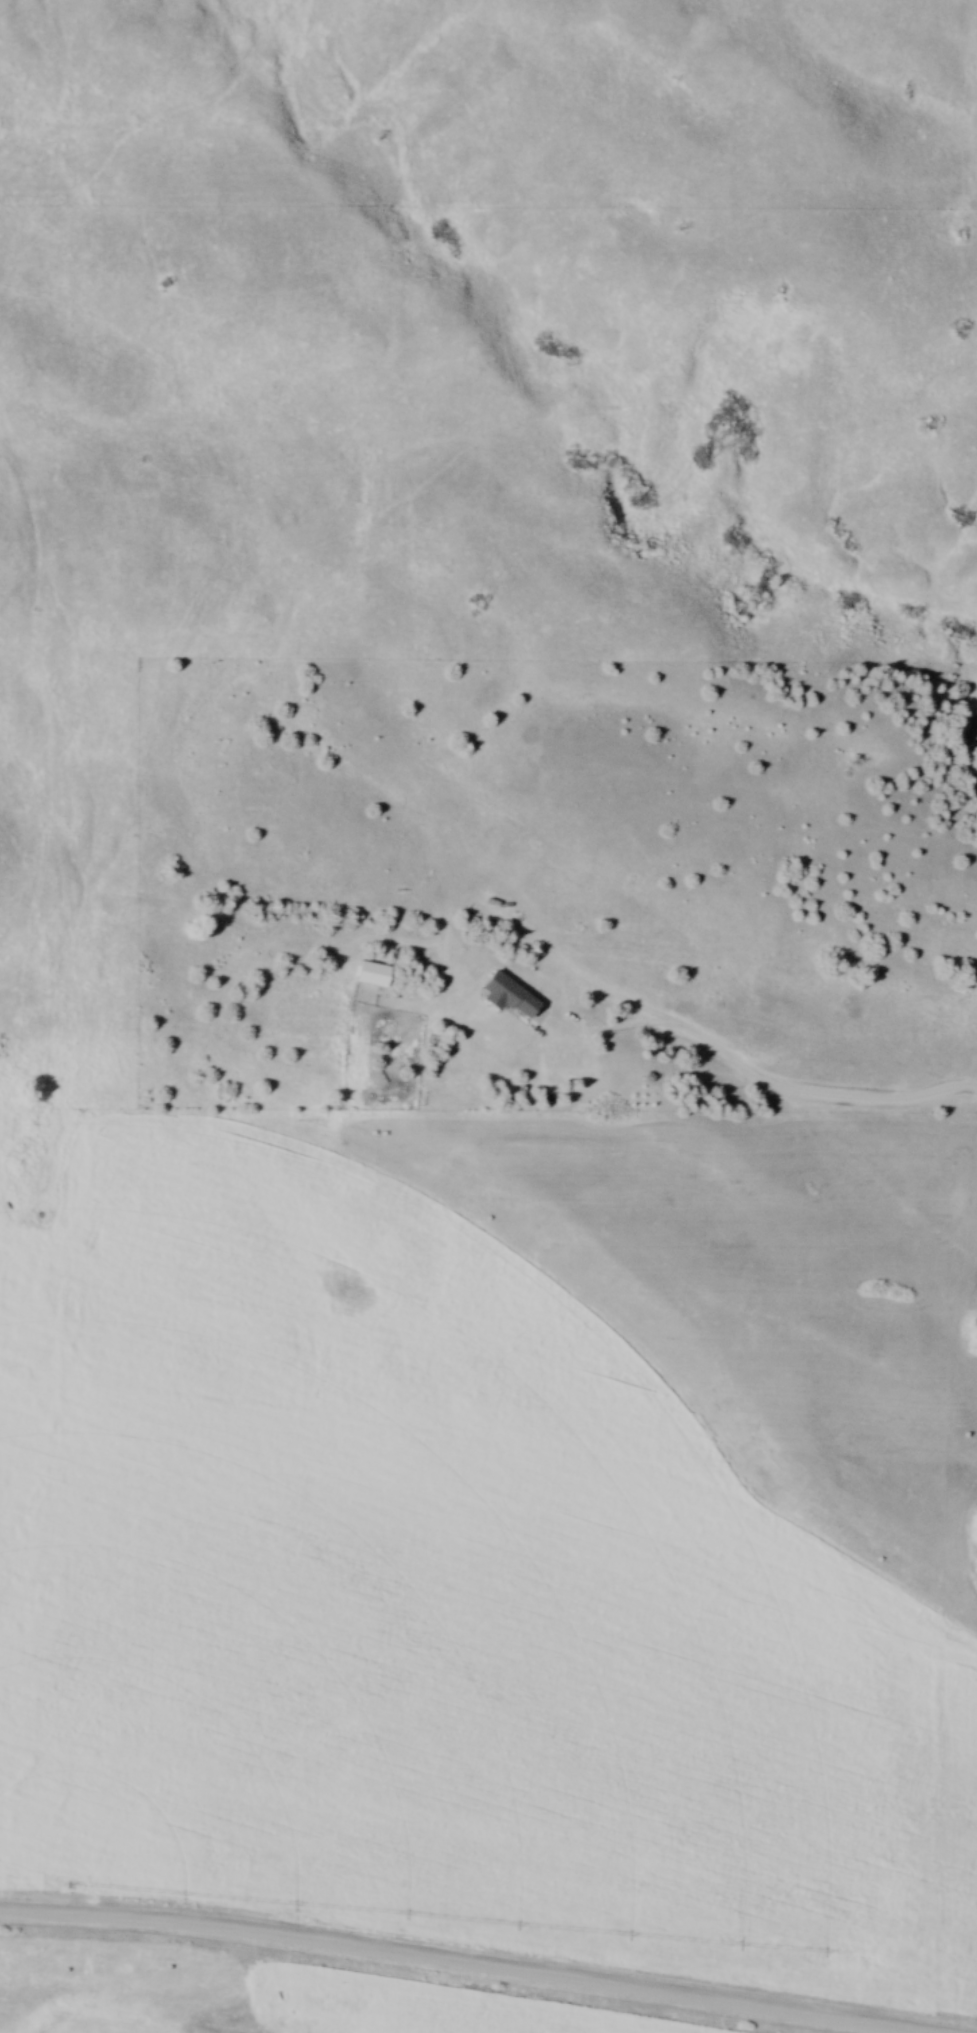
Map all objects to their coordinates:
road: (467, 1960)

